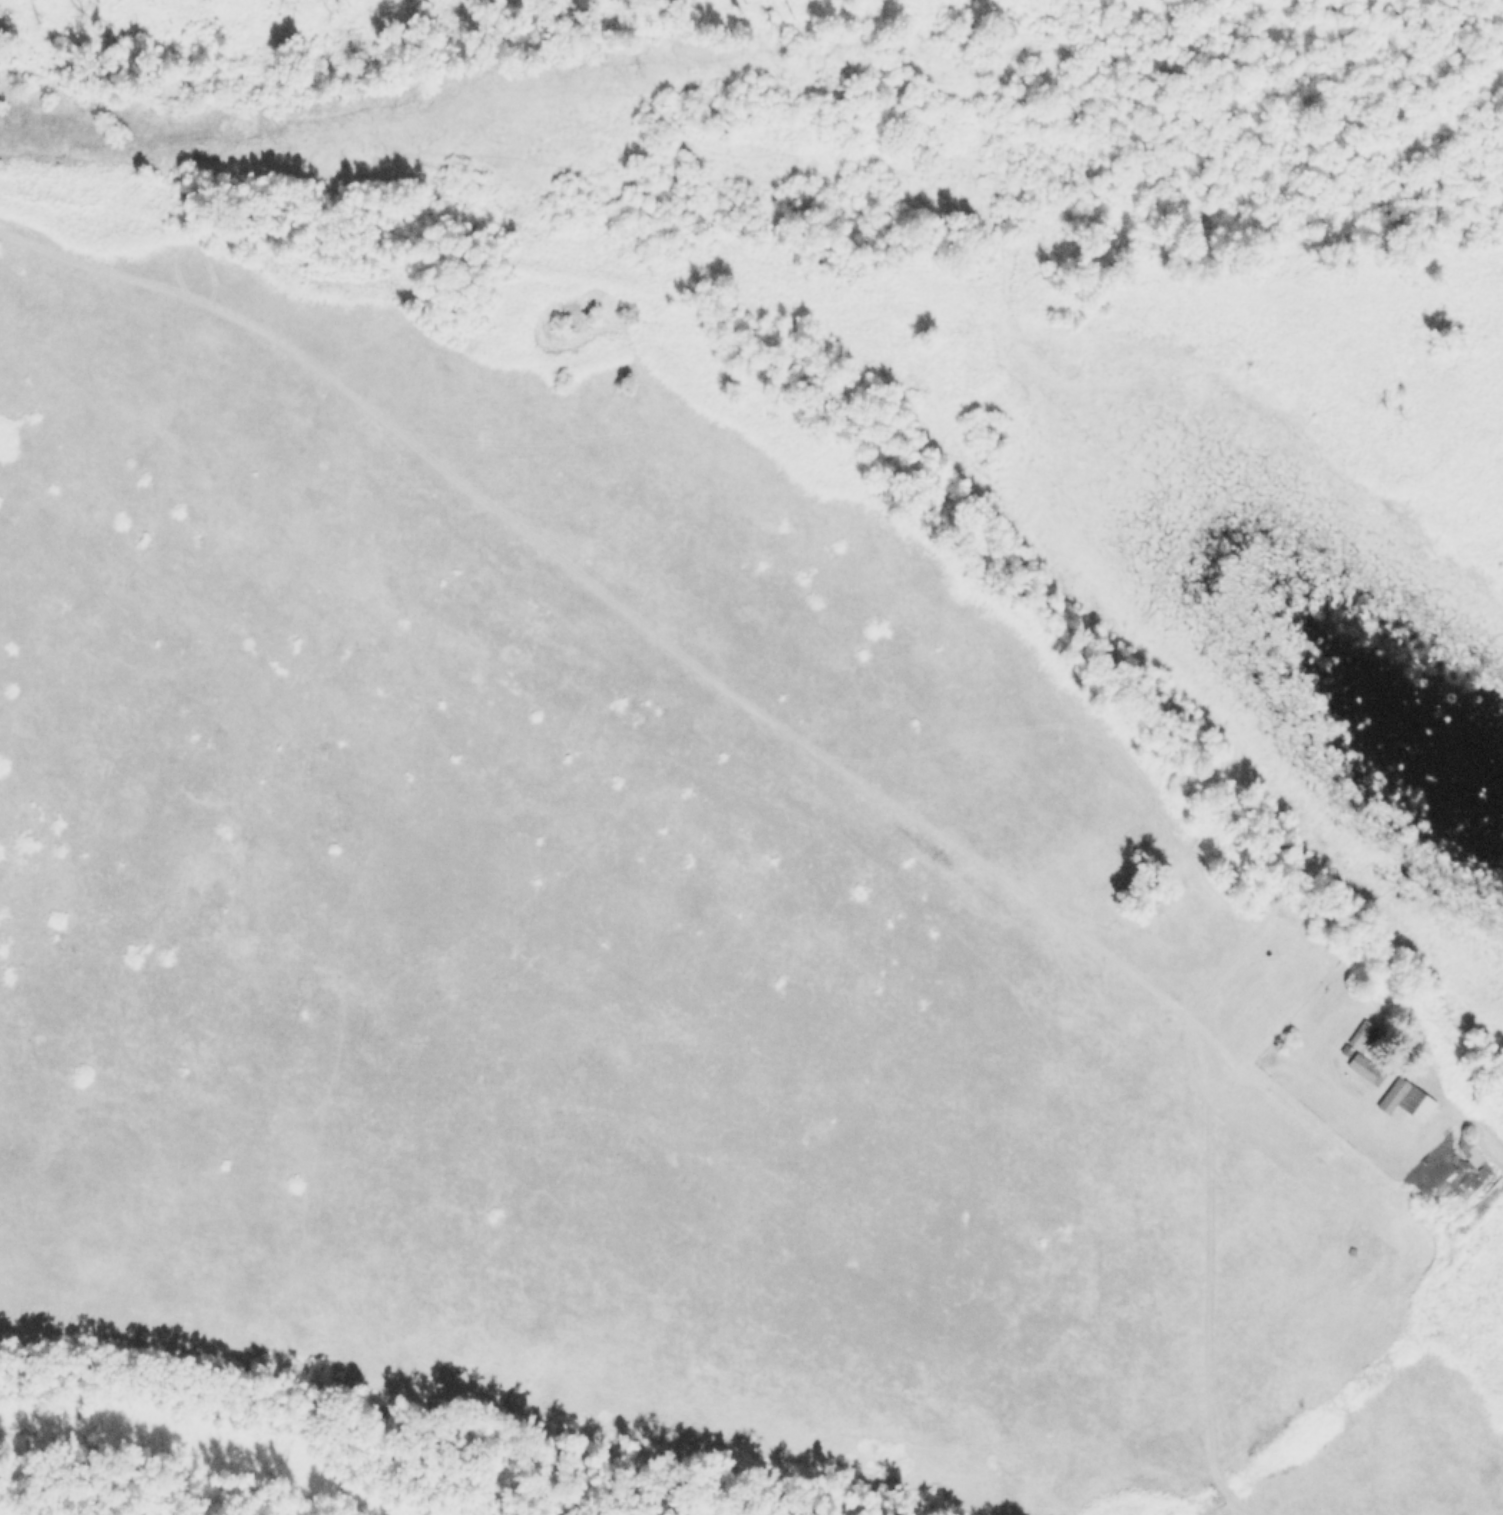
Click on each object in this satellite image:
building: (1360, 1034)
building: (1345, 1049)
building: (1364, 1066)
building: (1406, 1098)
building: (1461, 1182)
building: (1350, 1249)

